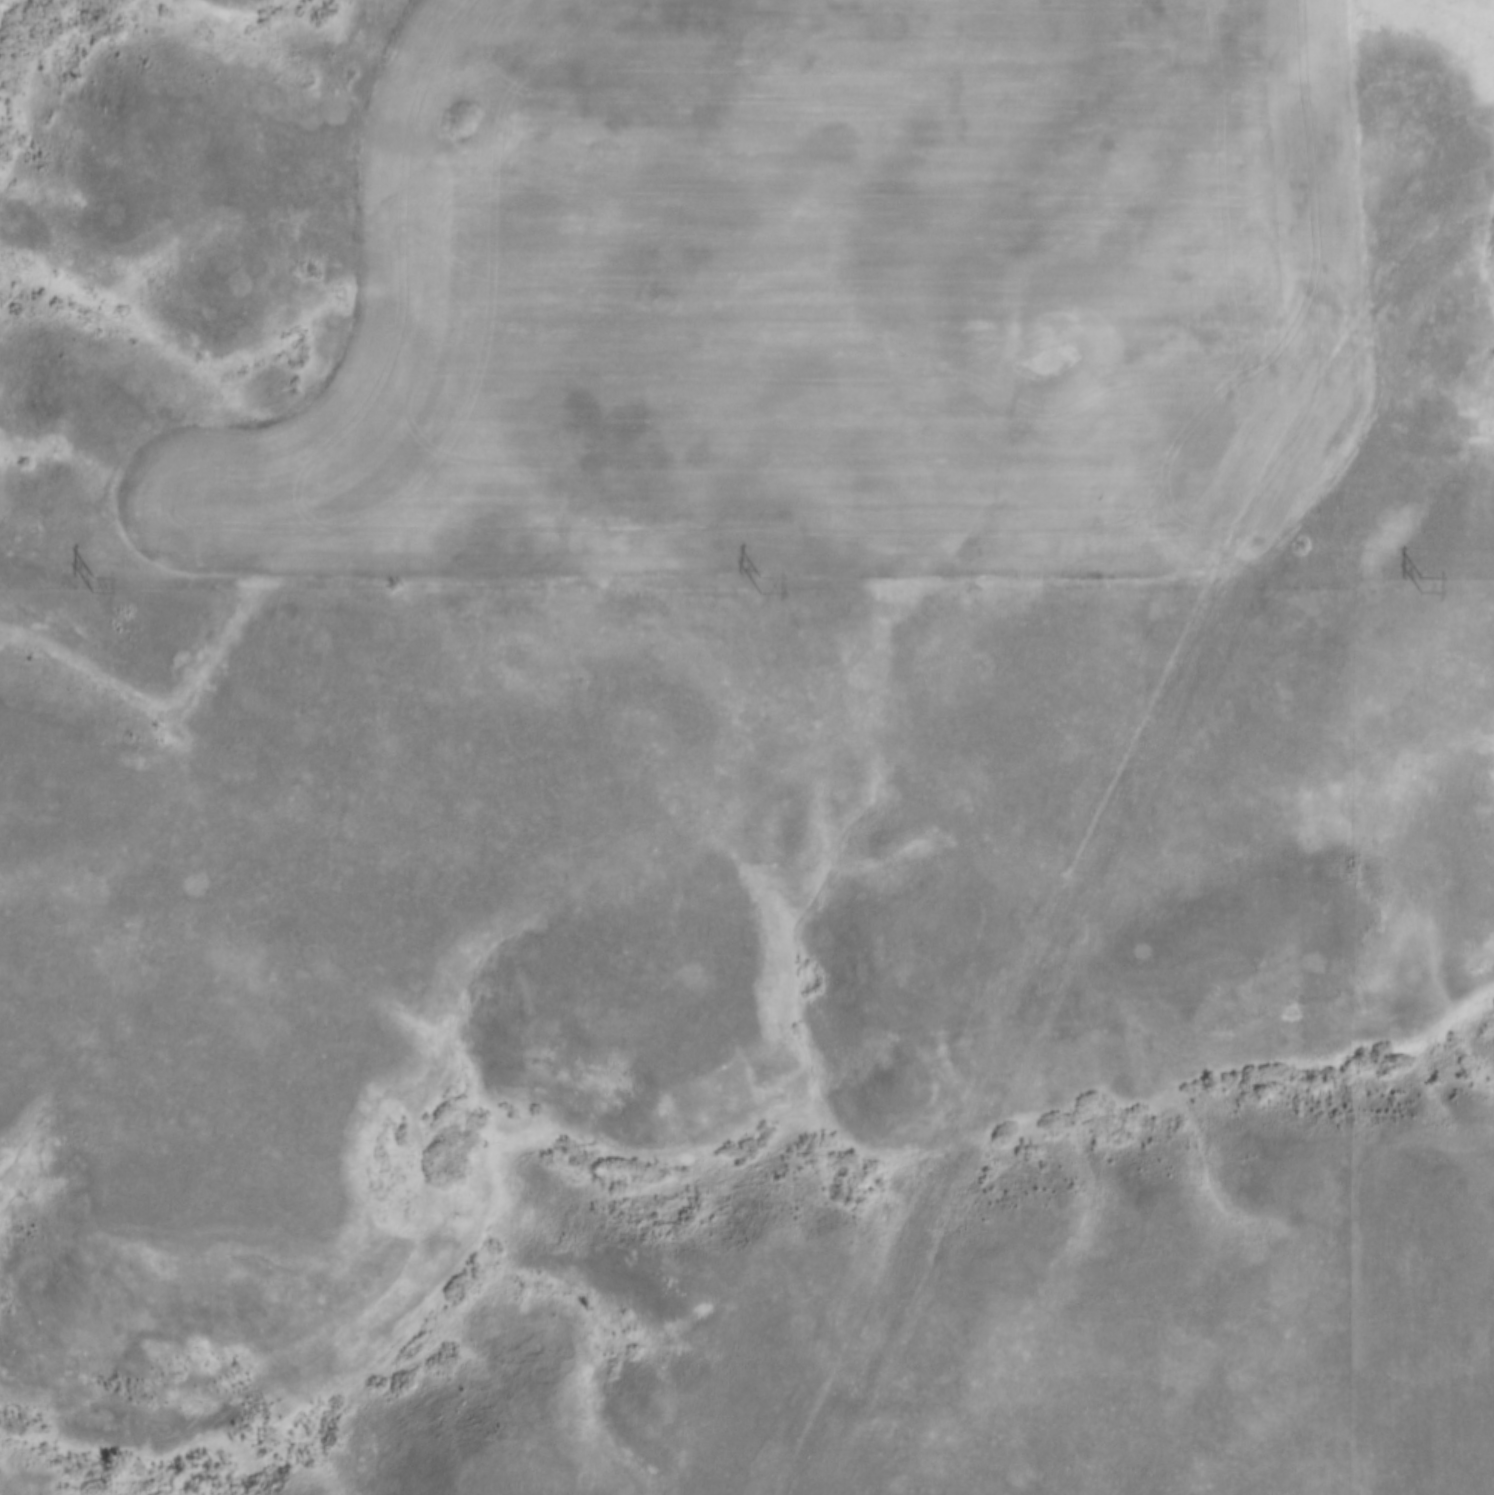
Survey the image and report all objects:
power tower: (85, 584)
power tower: (757, 584)
power tower: (1417, 584)

